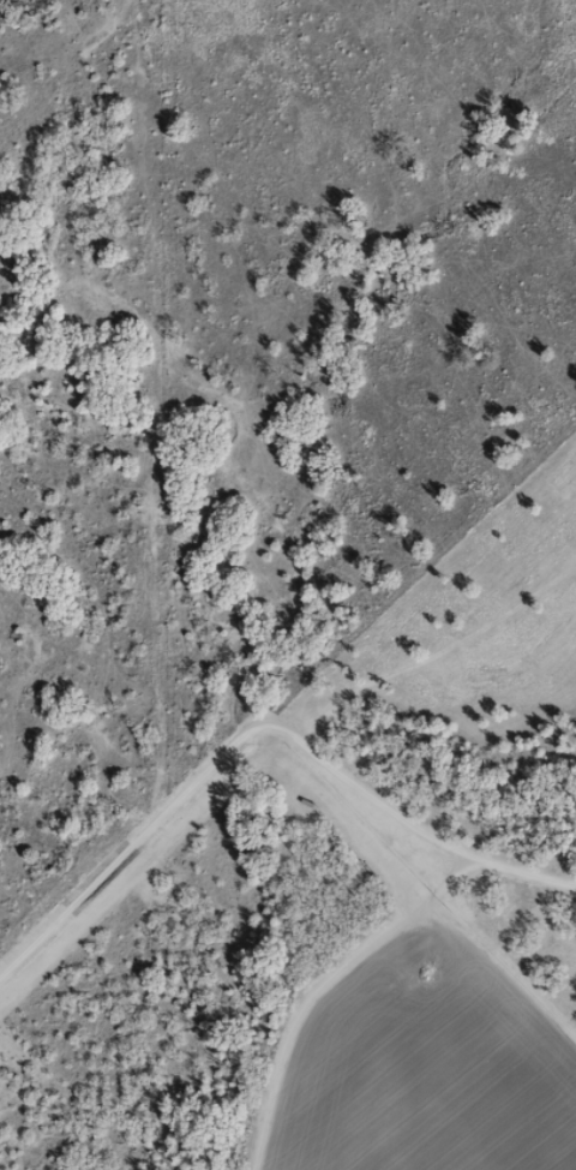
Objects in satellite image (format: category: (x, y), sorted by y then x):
road: (258, 726)

